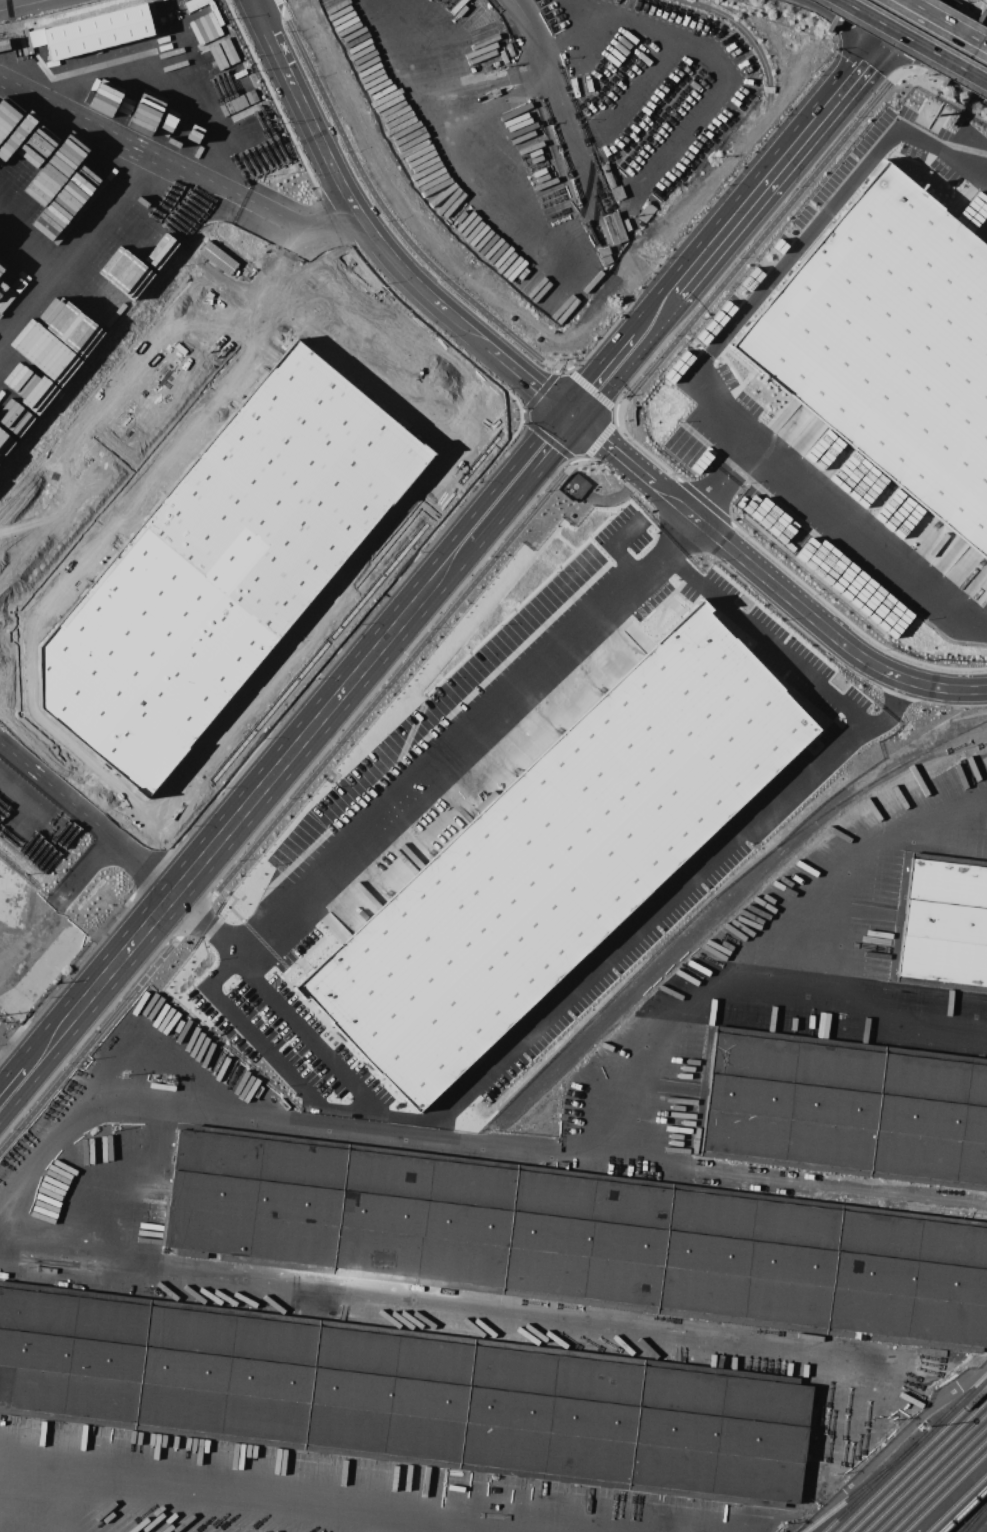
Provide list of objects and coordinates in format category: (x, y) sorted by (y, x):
road: (916, 0)
road: (917, 0)
traffic signals: (917, 1)
road: (16, 3)
road: (959, 4)
road: (279, 5)
road: (865, 13)
road: (907, 14)
road: (944, 16)
road: (946, 23)
road: (593, 25)
traffic signals: (898, 28)
building: (95, 32)
road: (979, 36)
road: (938, 39)
road: (912, 41)
road: (925, 43)
road: (853, 50)
road: (719, 59)
road: (527, 65)
road: (970, 69)
road: (863, 70)
road: (584, 72)
road: (556, 77)
road: (649, 80)
road: (952, 86)
parking lot: (647, 89)
road: (463, 145)
road: (152, 153)
road: (617, 164)
road: (784, 166)
road: (589, 174)
building: (973, 212)
road: (388, 215)
road: (306, 222)
road: (373, 235)
road: (762, 236)
road: (312, 247)
road: (77, 249)
road: (705, 261)
building: (121, 269)
building: (396, 317)
building: (891, 346)
road: (619, 359)
road: (703, 362)
road: (541, 390)
road: (608, 408)
traffic signals: (568, 418)
road: (139, 427)
road: (452, 429)
road: (582, 429)
parking lot: (132, 437)
road: (548, 438)
road: (726, 480)
road: (511, 485)
building: (575, 489)
road: (674, 537)
building: (221, 565)
parking lot: (362, 571)
road: (428, 585)
road: (782, 588)
road: (305, 648)
road: (370, 654)
road: (786, 659)
road: (305, 733)
road: (288, 803)
road: (369, 835)
road: (210, 845)
road: (121, 850)
building: (558, 852)
road: (852, 856)
road: (2, 904)
building: (946, 926)
road: (640, 928)
road: (744, 988)
road: (75, 1007)
road: (24, 1038)
building: (847, 1109)
road: (67, 1126)
road: (575, 1157)
railway: (824, 1195)
building: (579, 1238)
road: (478, 1319)
building: (402, 1396)
road: (892, 1444)
railway: (904, 1452)
railway: (911, 1458)
railway: (918, 1465)
railway: (925, 1472)
railway: (932, 1478)
road: (58, 1483)
railway: (938, 1485)
railway: (859, 1487)
railway: (945, 1491)
road: (950, 1497)
railway: (956, 1502)
railway: (963, 1508)
railway: (970, 1516)
railway: (974, 1517)

